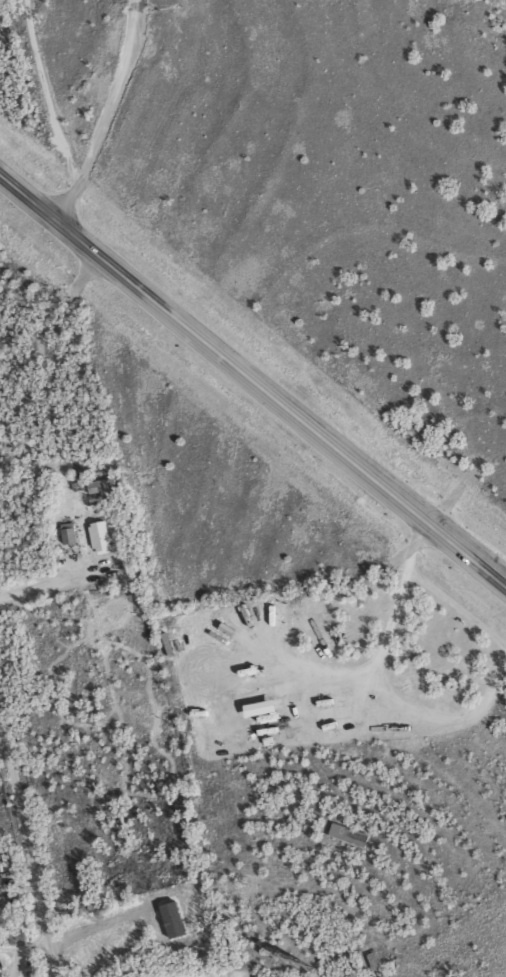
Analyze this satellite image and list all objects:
road: (252, 382)
building: (70, 533)
building: (100, 537)
building: (265, 707)
building: (350, 834)
road: (30, 841)

